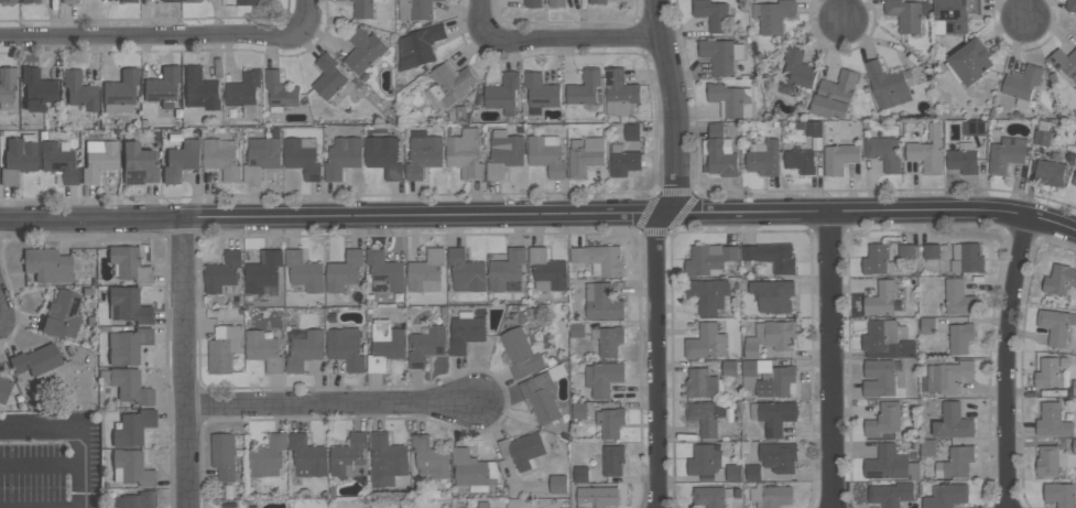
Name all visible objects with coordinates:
building: (29, 0)
building: (127, 0)
building: (170, 0)
building: (186, 0)
building: (8, 1)
building: (69, 1)
building: (597, 1)
building: (247, 2)
building: (532, 3)
building: (556, 3)
building: (1070, 6)
building: (363, 9)
building: (416, 9)
road: (839, 10)
road: (1022, 10)
building: (711, 14)
building: (905, 14)
building: (773, 15)
building: (953, 15)
road: (551, 33)
road: (173, 40)
building: (419, 46)
building: (363, 51)
building: (720, 55)
building: (969, 63)
building: (1063, 63)
building: (796, 71)
building: (328, 76)
building: (162, 84)
building: (1022, 84)
building: (7, 85)
building: (448, 85)
building: (889, 85)
building: (584, 88)
building: (37, 89)
building: (199, 89)
building: (242, 89)
building: (79, 90)
building: (120, 93)
building: (280, 93)
building: (540, 93)
building: (503, 94)
building: (620, 94)
building: (834, 96)
building: (730, 100)
building: (972, 128)
building: (812, 129)
building: (632, 132)
building: (1043, 134)
building: (927, 151)
building: (883, 152)
building: (423, 153)
building: (719, 153)
building: (465, 154)
building: (504, 154)
building: (1006, 154)
building: (546, 155)
building: (585, 156)
building: (19, 158)
building: (261, 158)
building: (303, 158)
building: (343, 158)
building: (383, 158)
building: (763, 158)
building: (839, 158)
building: (221, 159)
building: (99, 160)
building: (181, 160)
building: (58, 161)
building: (623, 161)
building: (800, 161)
building: (963, 161)
building: (138, 164)
building: (1050, 173)
building: (1074, 180)
road: (539, 216)
road: (654, 248)
building: (906, 251)
building: (931, 251)
building: (772, 258)
building: (967, 259)
building: (600, 260)
building: (708, 260)
building: (877, 261)
building: (47, 264)
building: (129, 264)
building: (304, 271)
building: (345, 271)
building: (508, 271)
building: (547, 271)
building: (384, 272)
building: (426, 272)
building: (466, 272)
building: (263, 273)
building: (224, 274)
building: (1061, 281)
building: (707, 295)
building: (773, 296)
building: (881, 299)
building: (958, 299)
building: (601, 302)
building: (128, 305)
building: (62, 315)
building: (927, 326)
building: (1055, 326)
building: (576, 329)
building: (466, 332)
building: (771, 338)
building: (960, 338)
building: (887, 341)
building: (609, 342)
building: (706, 343)
building: (128, 345)
building: (384, 345)
building: (426, 345)
building: (303, 348)
building: (346, 348)
building: (224, 349)
building: (264, 352)
building: (522, 354)
road: (830, 361)
road: (1002, 361)
building: (36, 363)
road: (183, 364)
building: (729, 368)
building: (1047, 374)
building: (602, 378)
building: (767, 378)
building: (878, 378)
building: (946, 378)
building: (702, 385)
building: (130, 386)
building: (3, 389)
building: (543, 393)
road: (327, 408)
building: (578, 411)
building: (773, 417)
building: (706, 418)
building: (884, 420)
building: (1052, 421)
building: (610, 422)
building: (953, 422)
building: (132, 428)
road: (81, 429)
building: (927, 448)
building: (522, 451)
building: (224, 456)
building: (268, 457)
building: (307, 457)
building: (349, 457)
building: (778, 457)
building: (430, 458)
building: (387, 460)
building: (704, 460)
building: (612, 461)
building: (1050, 461)
road: (42, 463)
building: (955, 463)
building: (891, 465)
building: (132, 468)
building: (472, 471)
building: (733, 473)
building: (752, 473)
building: (580, 475)
building: (558, 485)
building: (890, 495)
building: (1059, 495)
building: (771, 496)
building: (946, 496)
building: (597, 497)
building: (710, 497)
building: (137, 500)
building: (482, 505)

